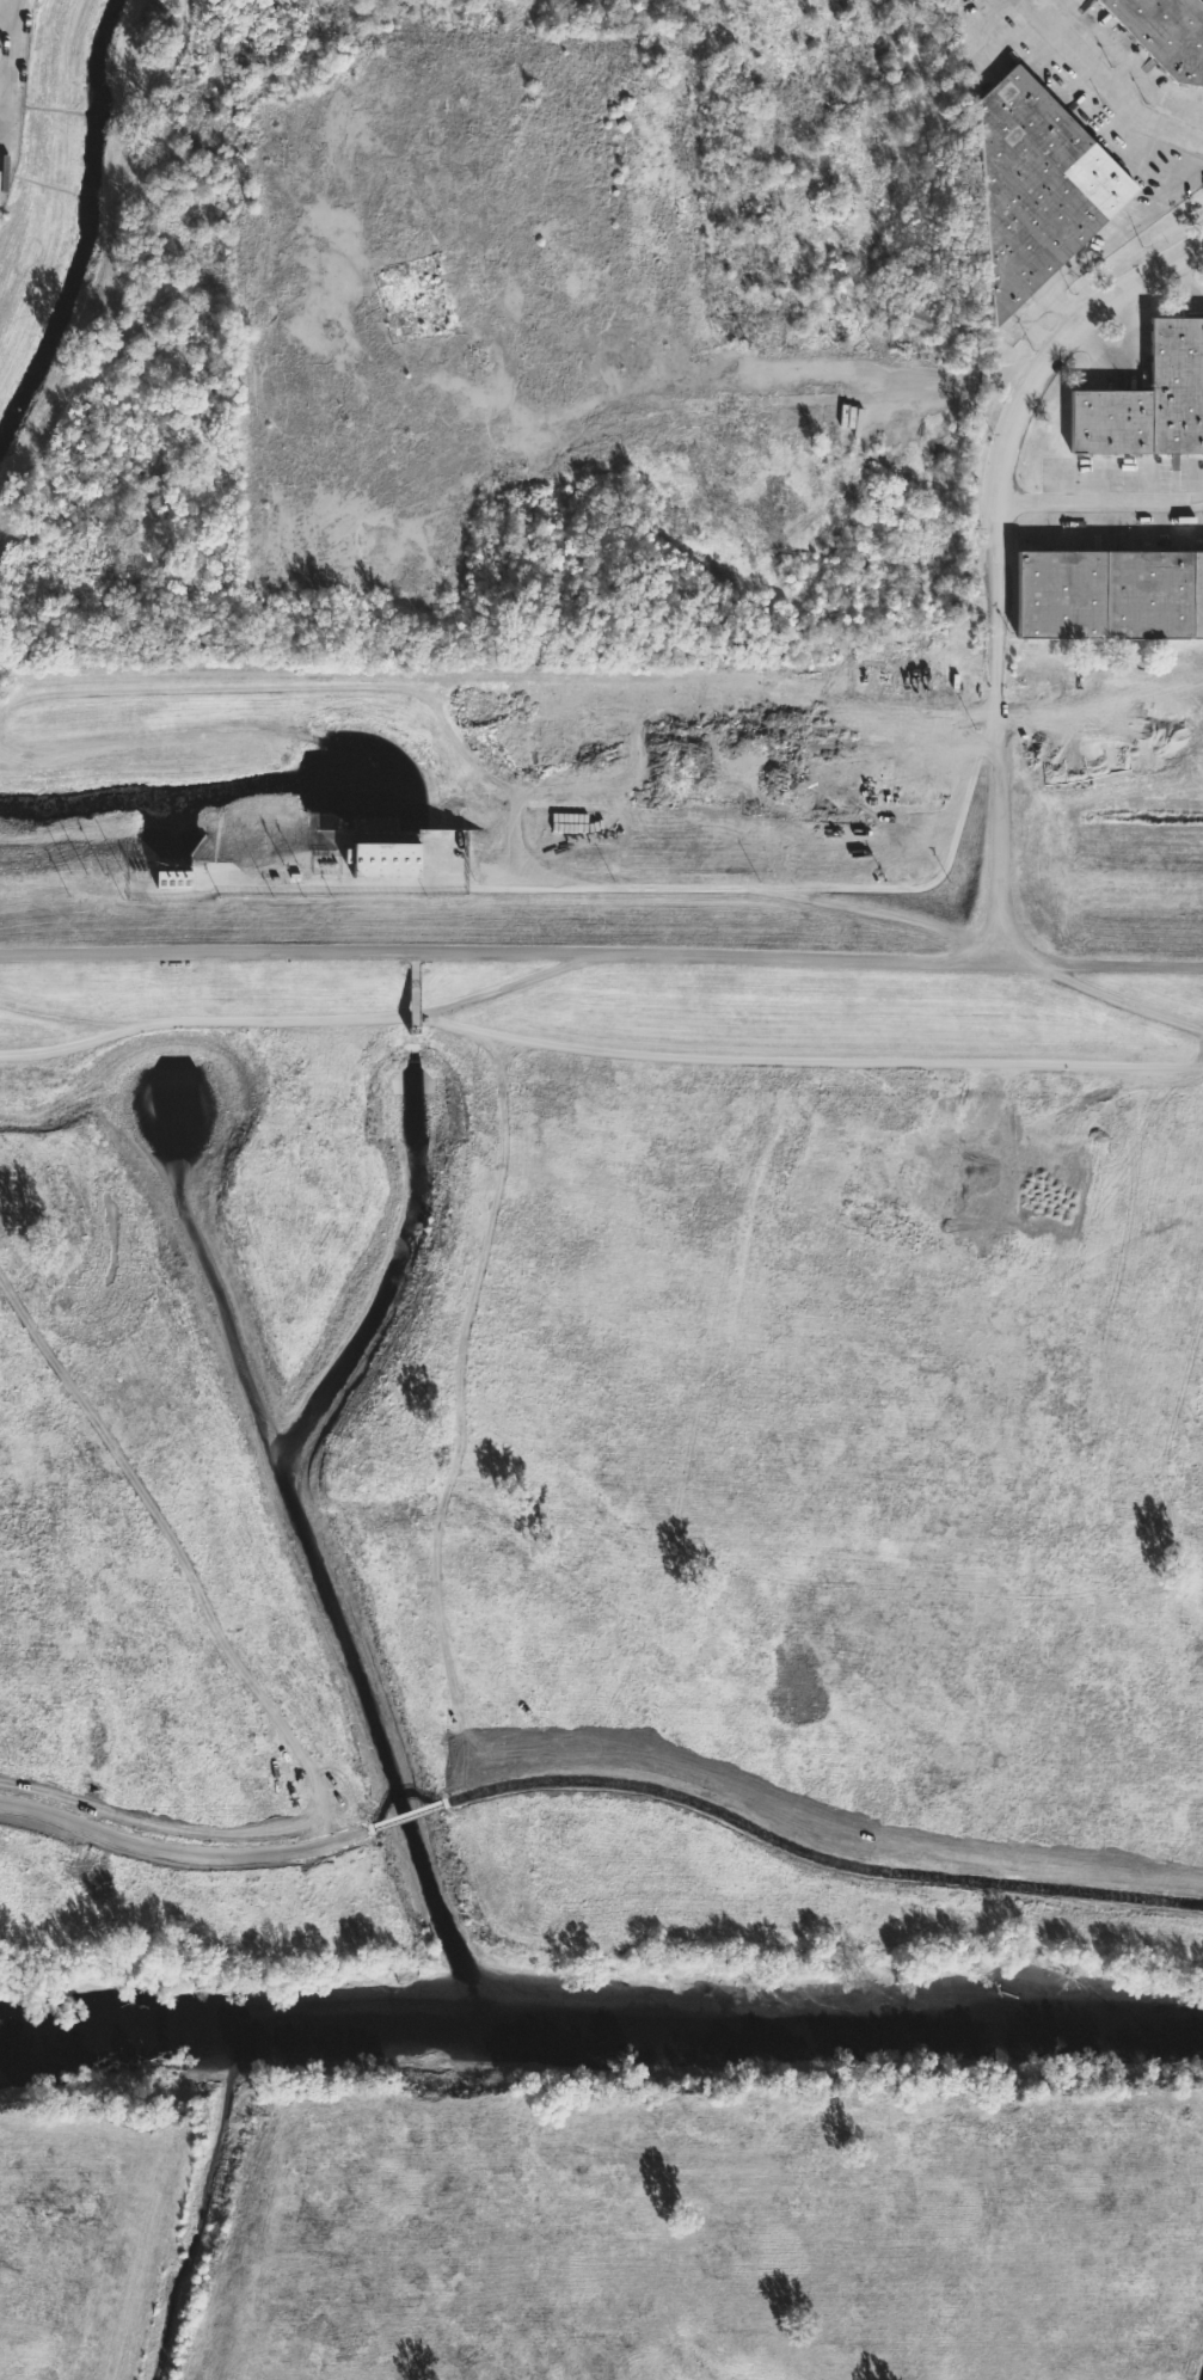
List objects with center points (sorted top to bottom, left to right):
building: (1167, 32)
road: (14, 57)
road: (1107, 84)
building: (1042, 188)
road: (1137, 221)
road: (1061, 282)
road: (1038, 306)
building: (919, 321)
building: (1150, 400)
road: (1015, 427)
road: (1101, 502)
building: (1113, 590)
railway: (601, 675)
road: (945, 811)
road: (996, 828)
building: (386, 859)
building: (173, 878)
road: (566, 885)
power tower: (13, 895)
power tower: (475, 897)
power tower: (941, 900)
road: (891, 915)
road: (601, 953)
road: (507, 987)
road: (1100, 993)
road: (70, 1018)
road: (597, 1050)
park: (602, 1550)
river: (599, 2007)

